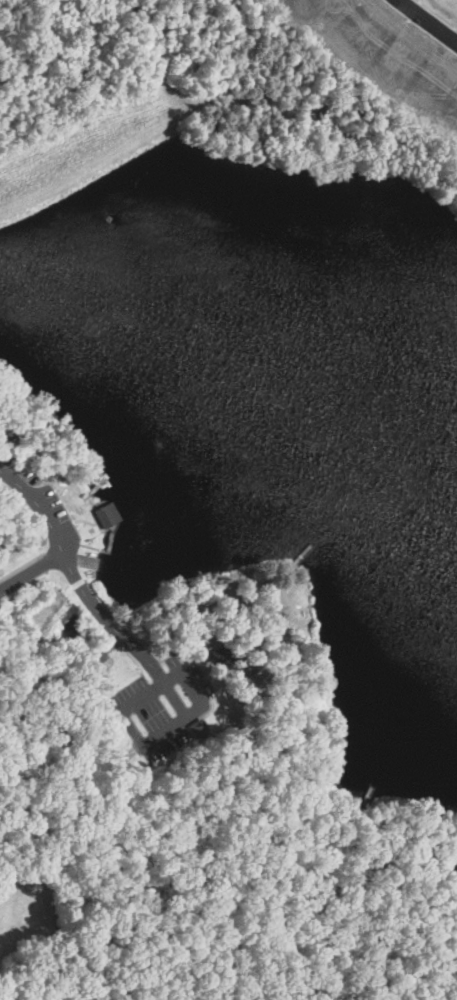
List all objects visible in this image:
building: (341, 3)
road: (438, 14)
building: (370, 20)
building: (406, 45)
building: (438, 69)
building: (105, 516)
park: (219, 536)
road: (30, 572)
road: (70, 573)
building: (222, 653)
road: (173, 700)
parking lot: (161, 708)
building: (198, 729)
road: (152, 740)
road: (327, 819)
road: (55, 873)
road: (247, 885)

